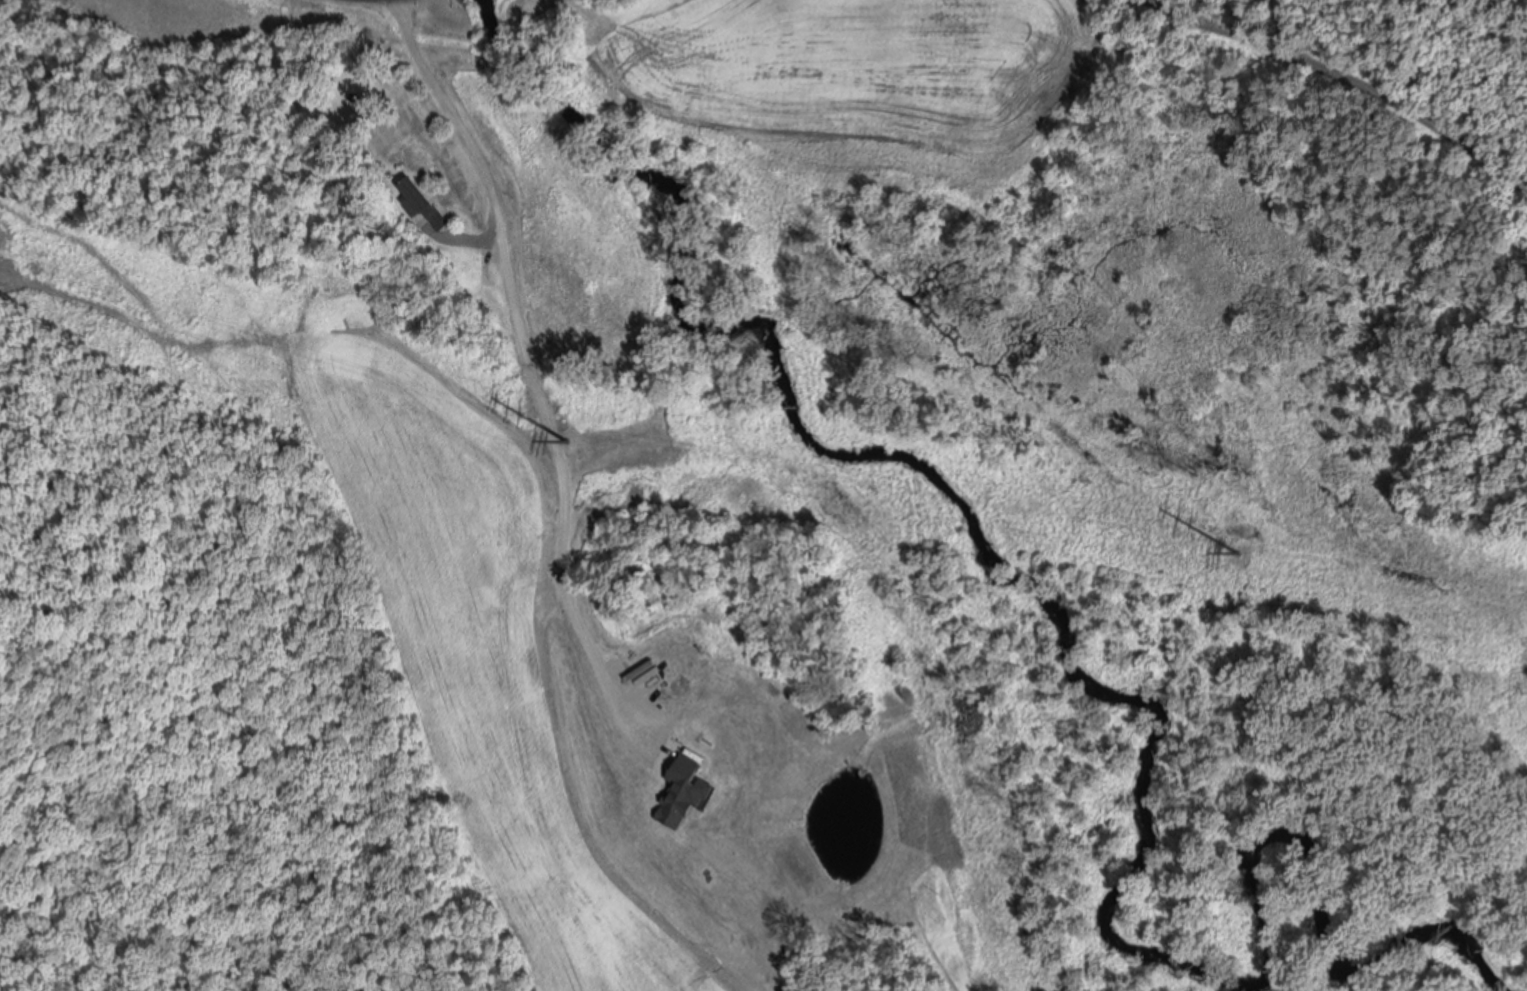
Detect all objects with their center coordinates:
road: (1346, 77)
building: (420, 201)
building: (535, 309)
road: (518, 374)
power tower: (565, 429)
power tower: (1238, 547)

